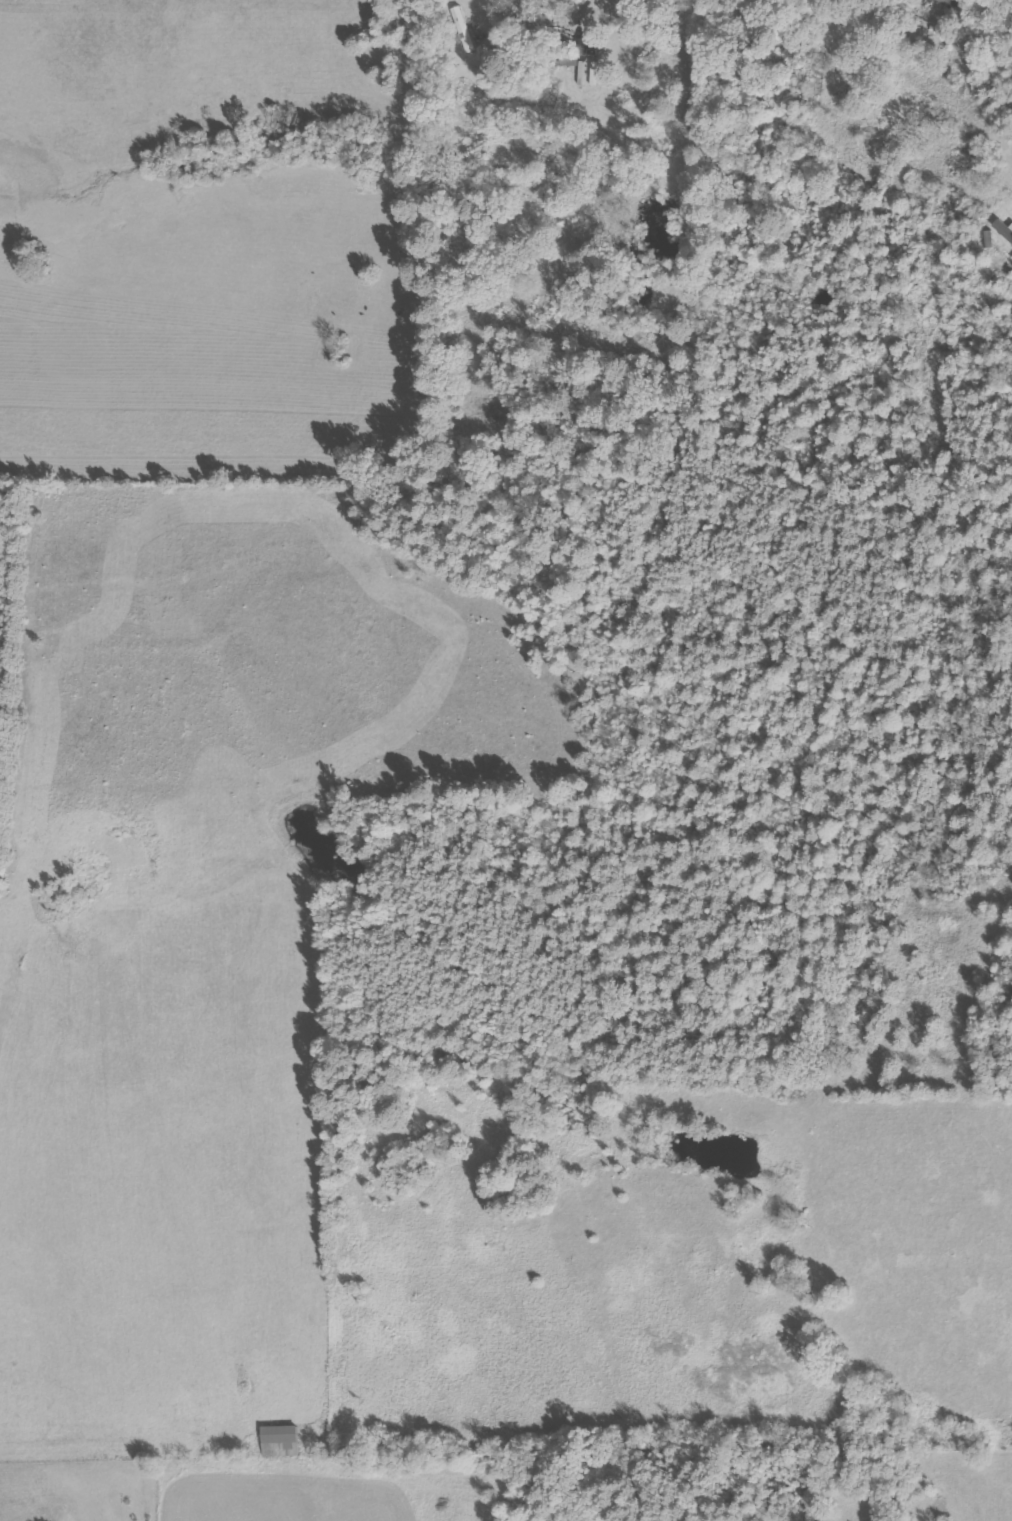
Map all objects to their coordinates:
building: (939, 0)
road: (540, 12)
building: (585, 63)
building: (285, 1441)

